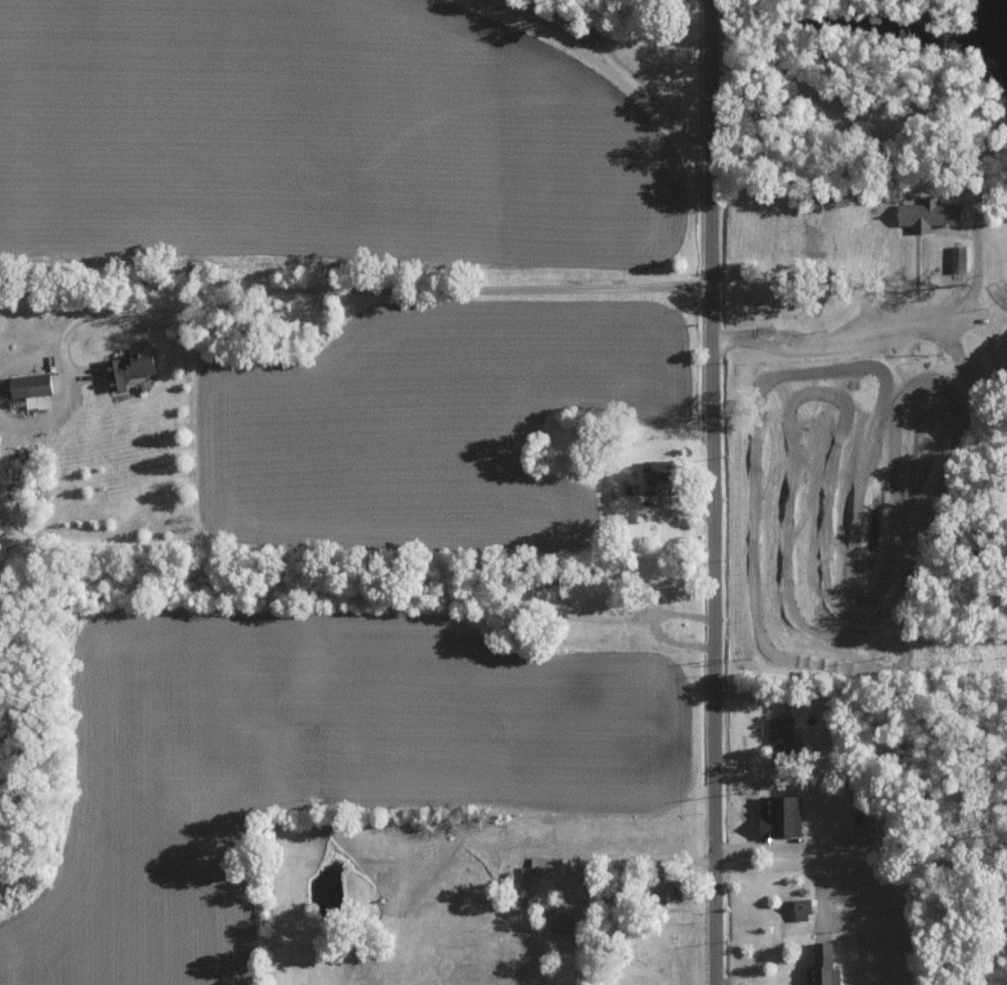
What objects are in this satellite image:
road: (590, 65)
building: (927, 216)
building: (957, 260)
road: (980, 274)
road: (359, 289)
road: (993, 301)
road: (834, 339)
building: (130, 367)
building: (32, 389)
building: (656, 470)
road: (717, 492)
track: (837, 516)
building: (548, 590)
road: (656, 629)
building: (784, 733)
building: (782, 815)
road: (861, 862)
road: (640, 864)
building: (539, 883)
building: (803, 909)
building: (824, 966)

